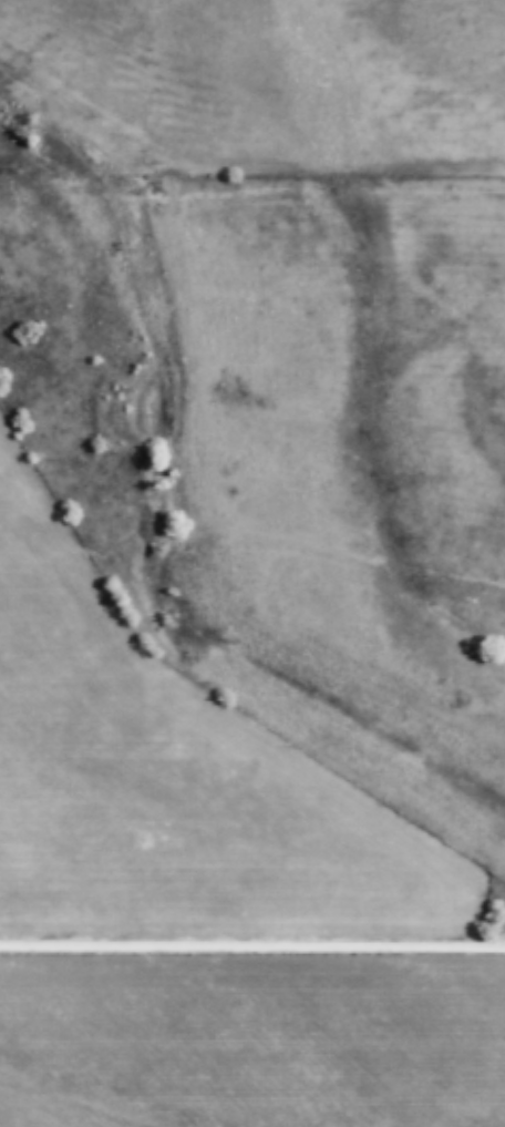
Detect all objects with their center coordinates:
road: (252, 953)

